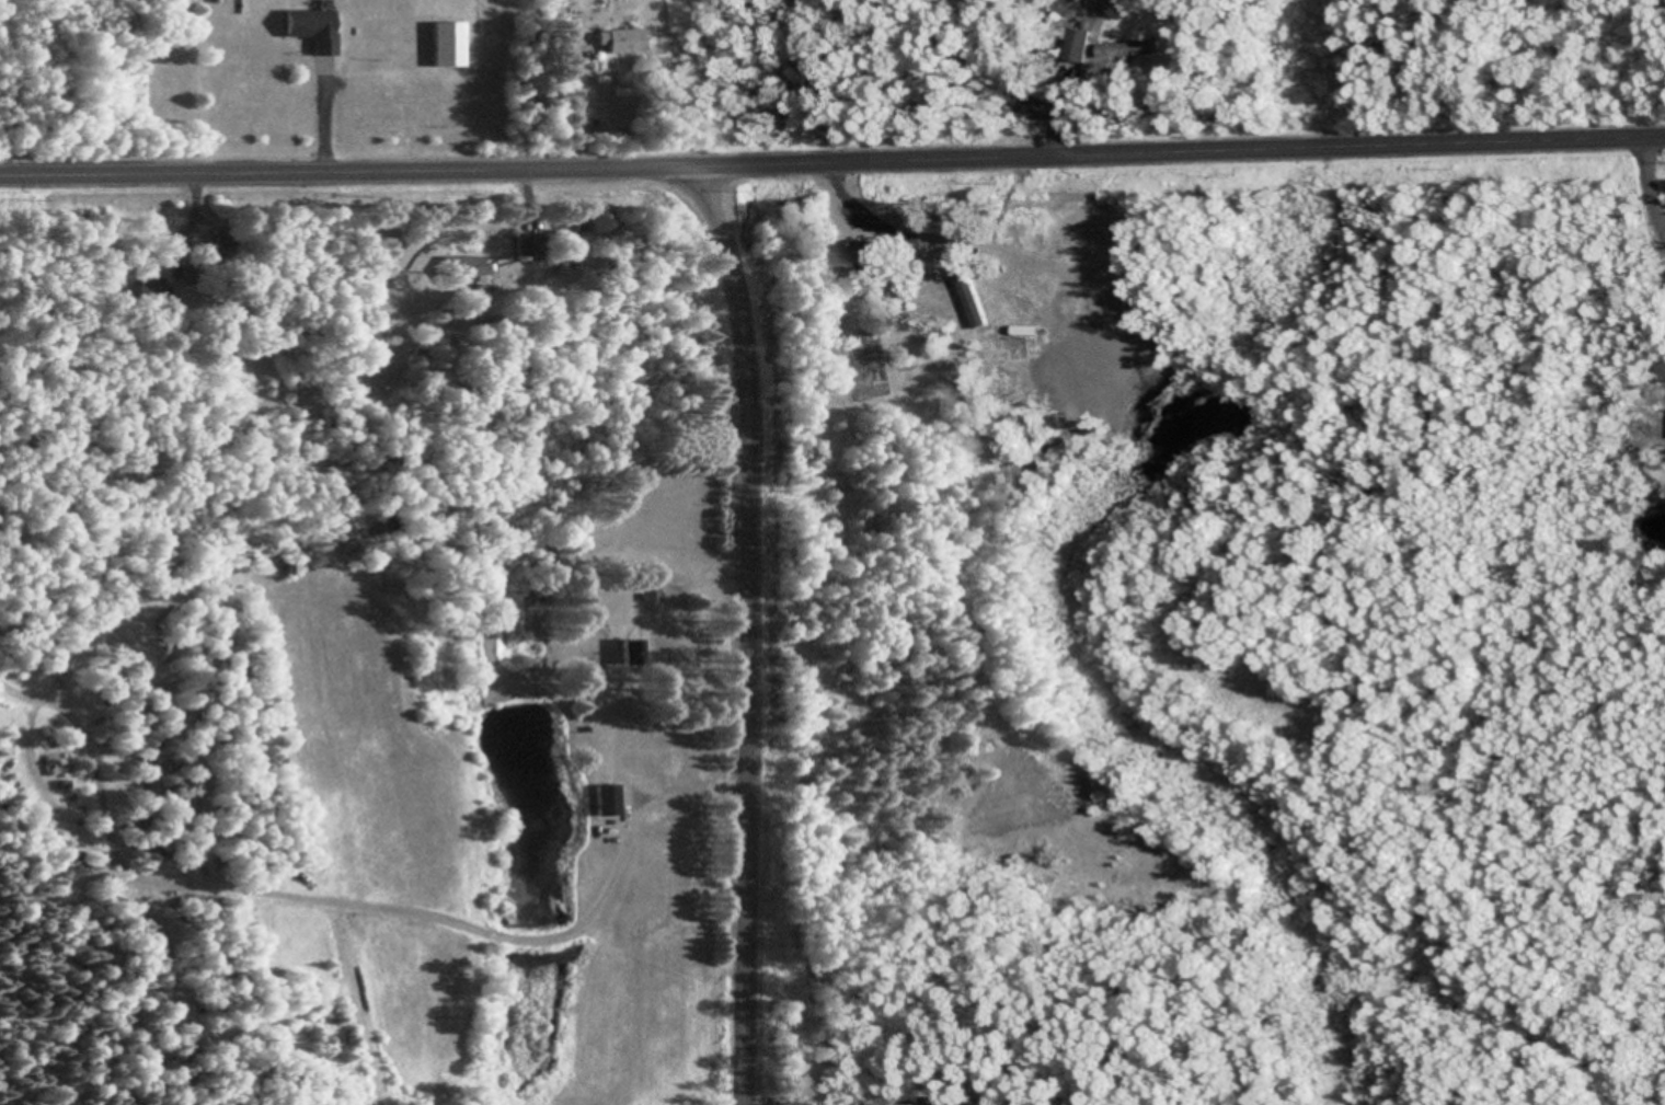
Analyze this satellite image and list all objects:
building: (309, 31)
building: (618, 44)
building: (444, 46)
building: (1075, 48)
building: (1127, 51)
road: (832, 163)
building: (1013, 239)
building: (527, 249)
building: (861, 255)
building: (464, 273)
building: (943, 286)
building: (647, 589)
road: (751, 630)
building: (628, 655)
building: (602, 803)

